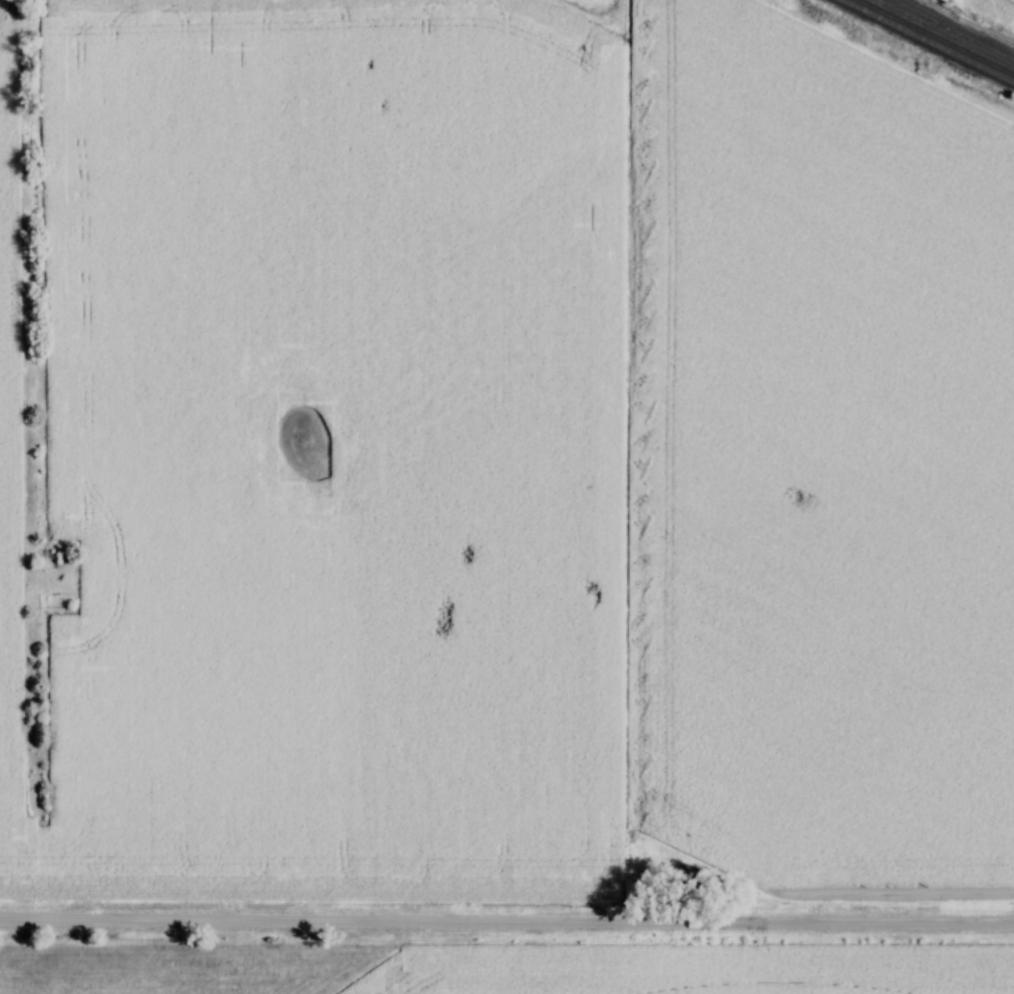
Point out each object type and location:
crop: (586, 4)
railway: (969, 24)
railway: (944, 33)
railway: (927, 41)
crop: (823, 461)
road: (507, 923)

